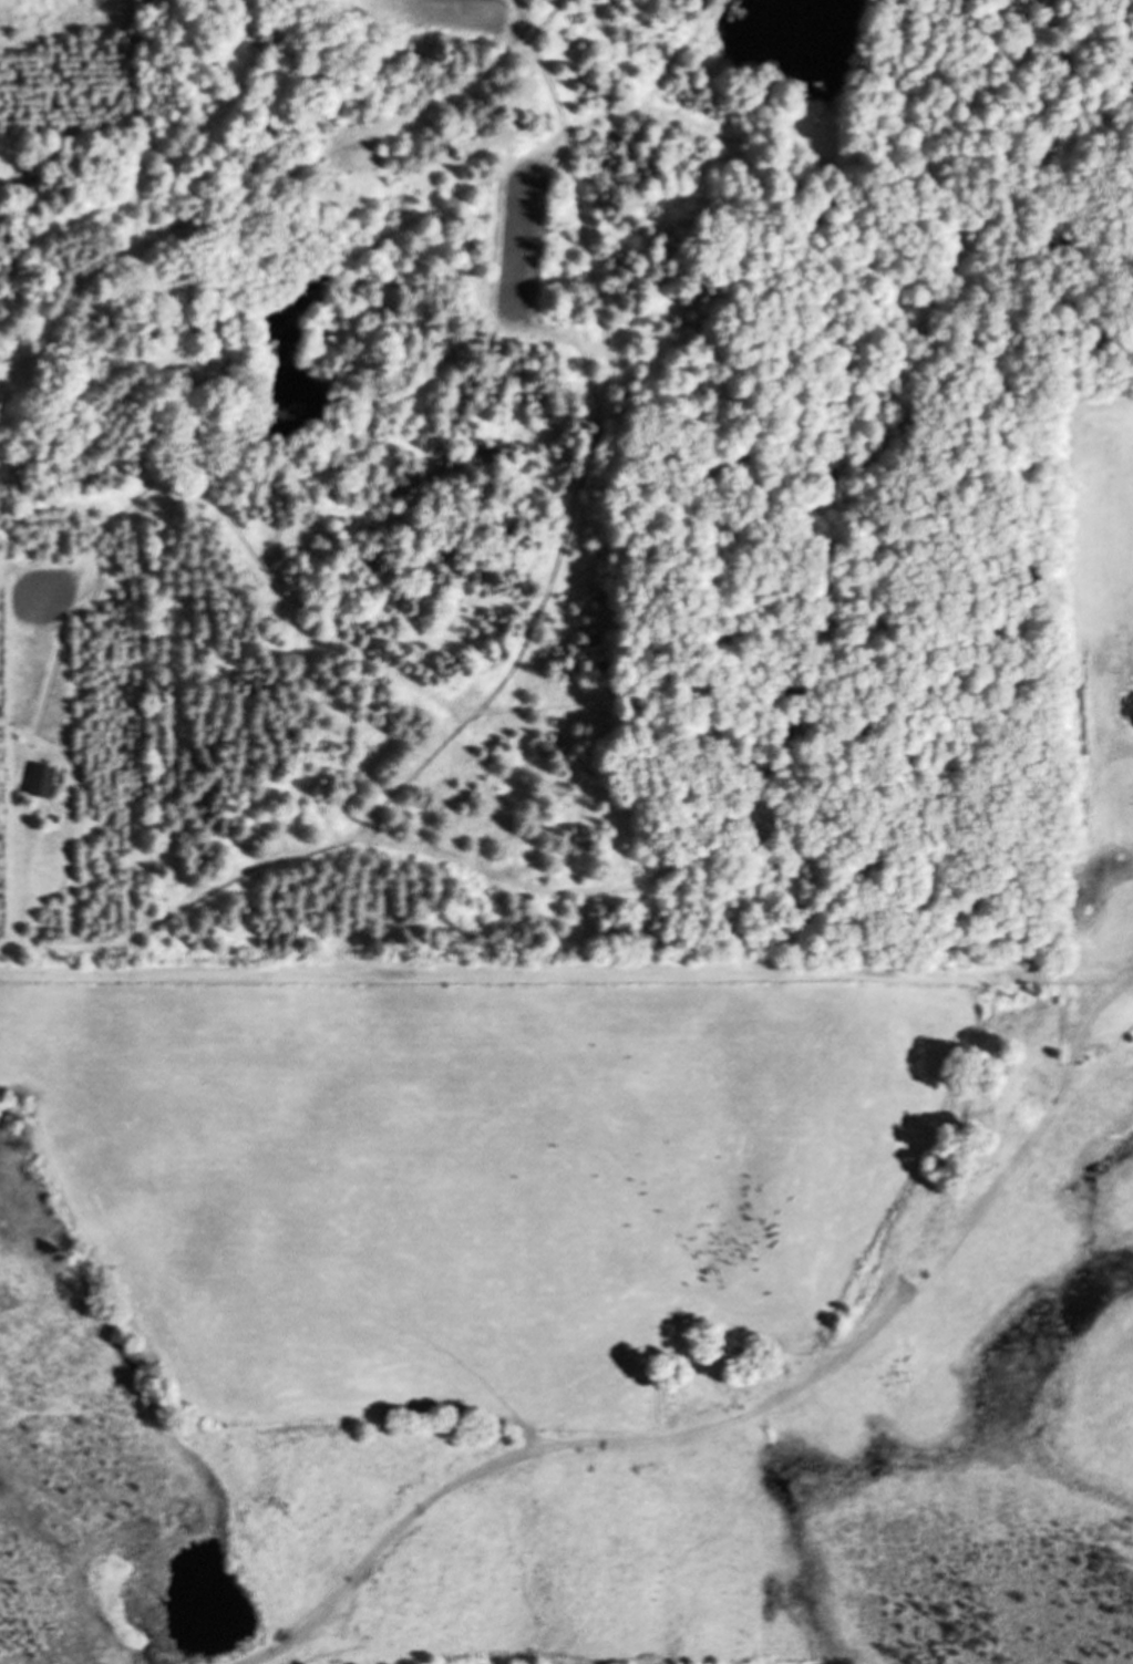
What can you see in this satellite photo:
building: (39, 781)

